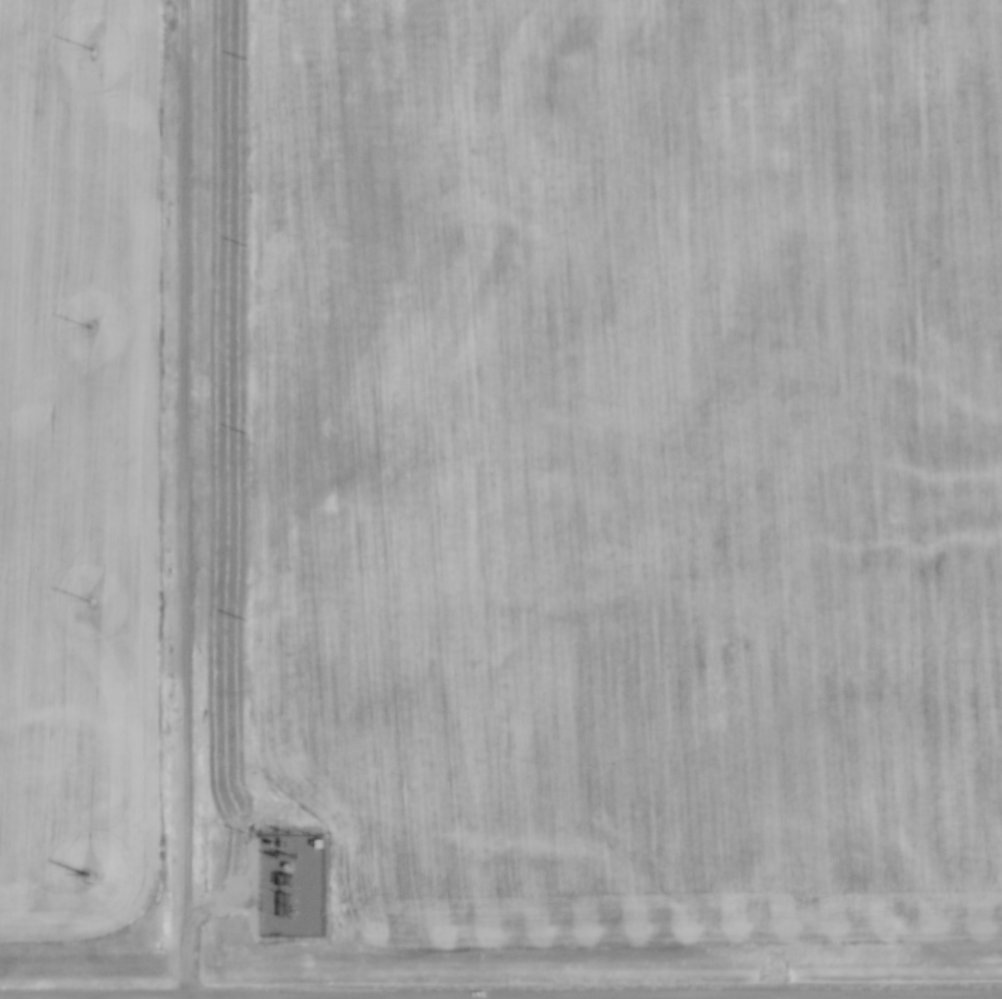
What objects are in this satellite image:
road: (186, 499)
power substation: (286, 881)
road: (517, 996)

